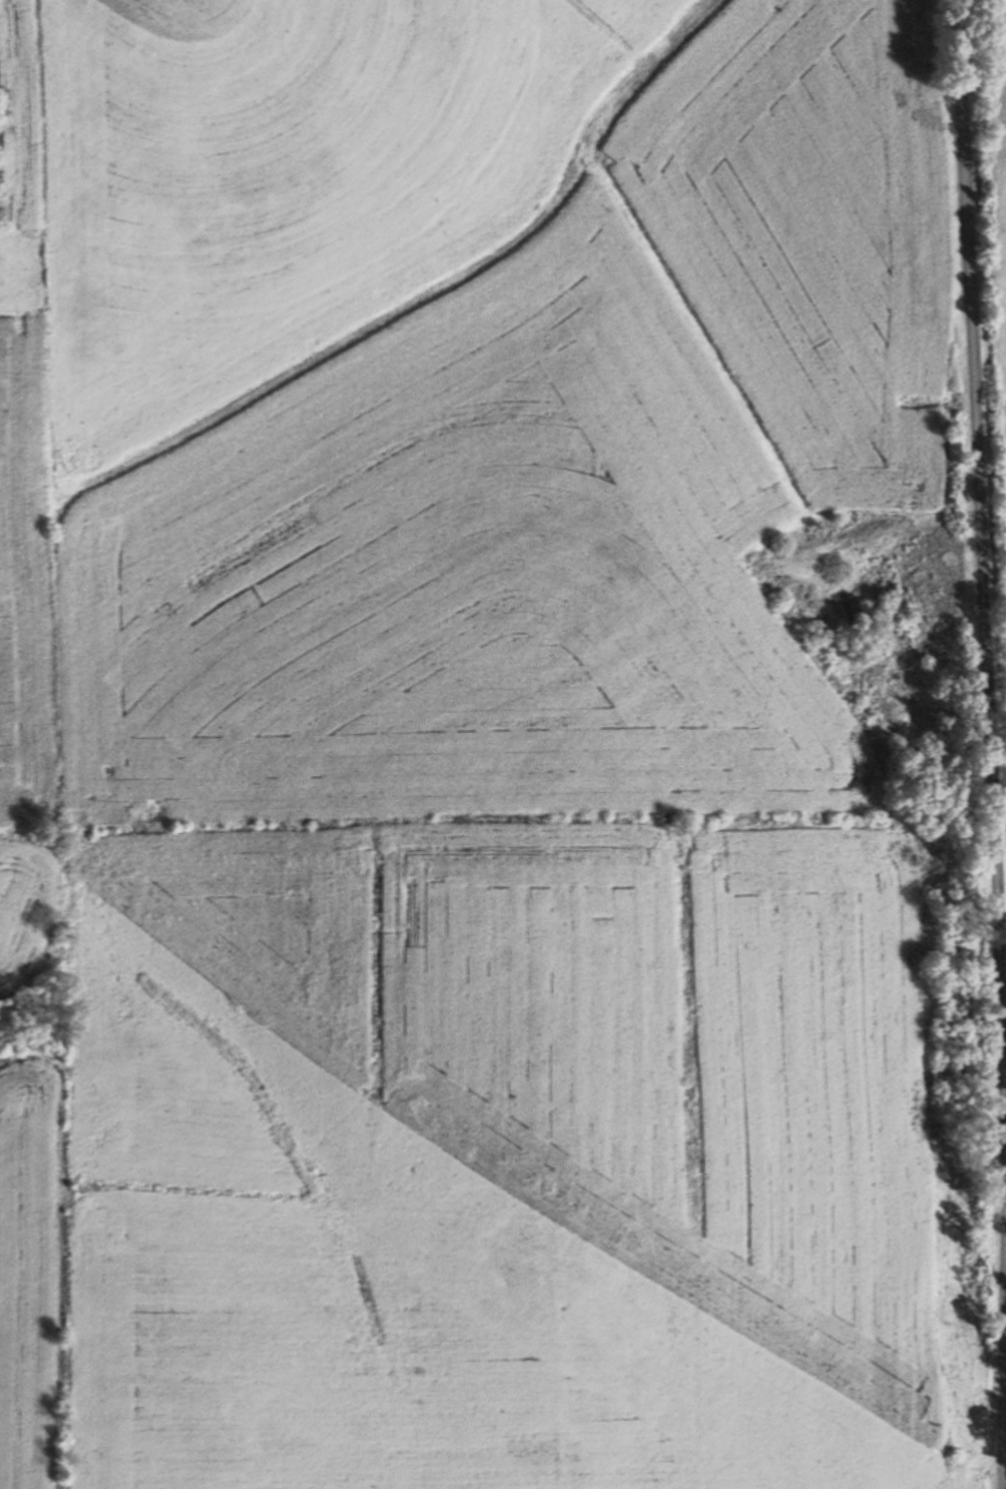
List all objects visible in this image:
road: (988, 744)

